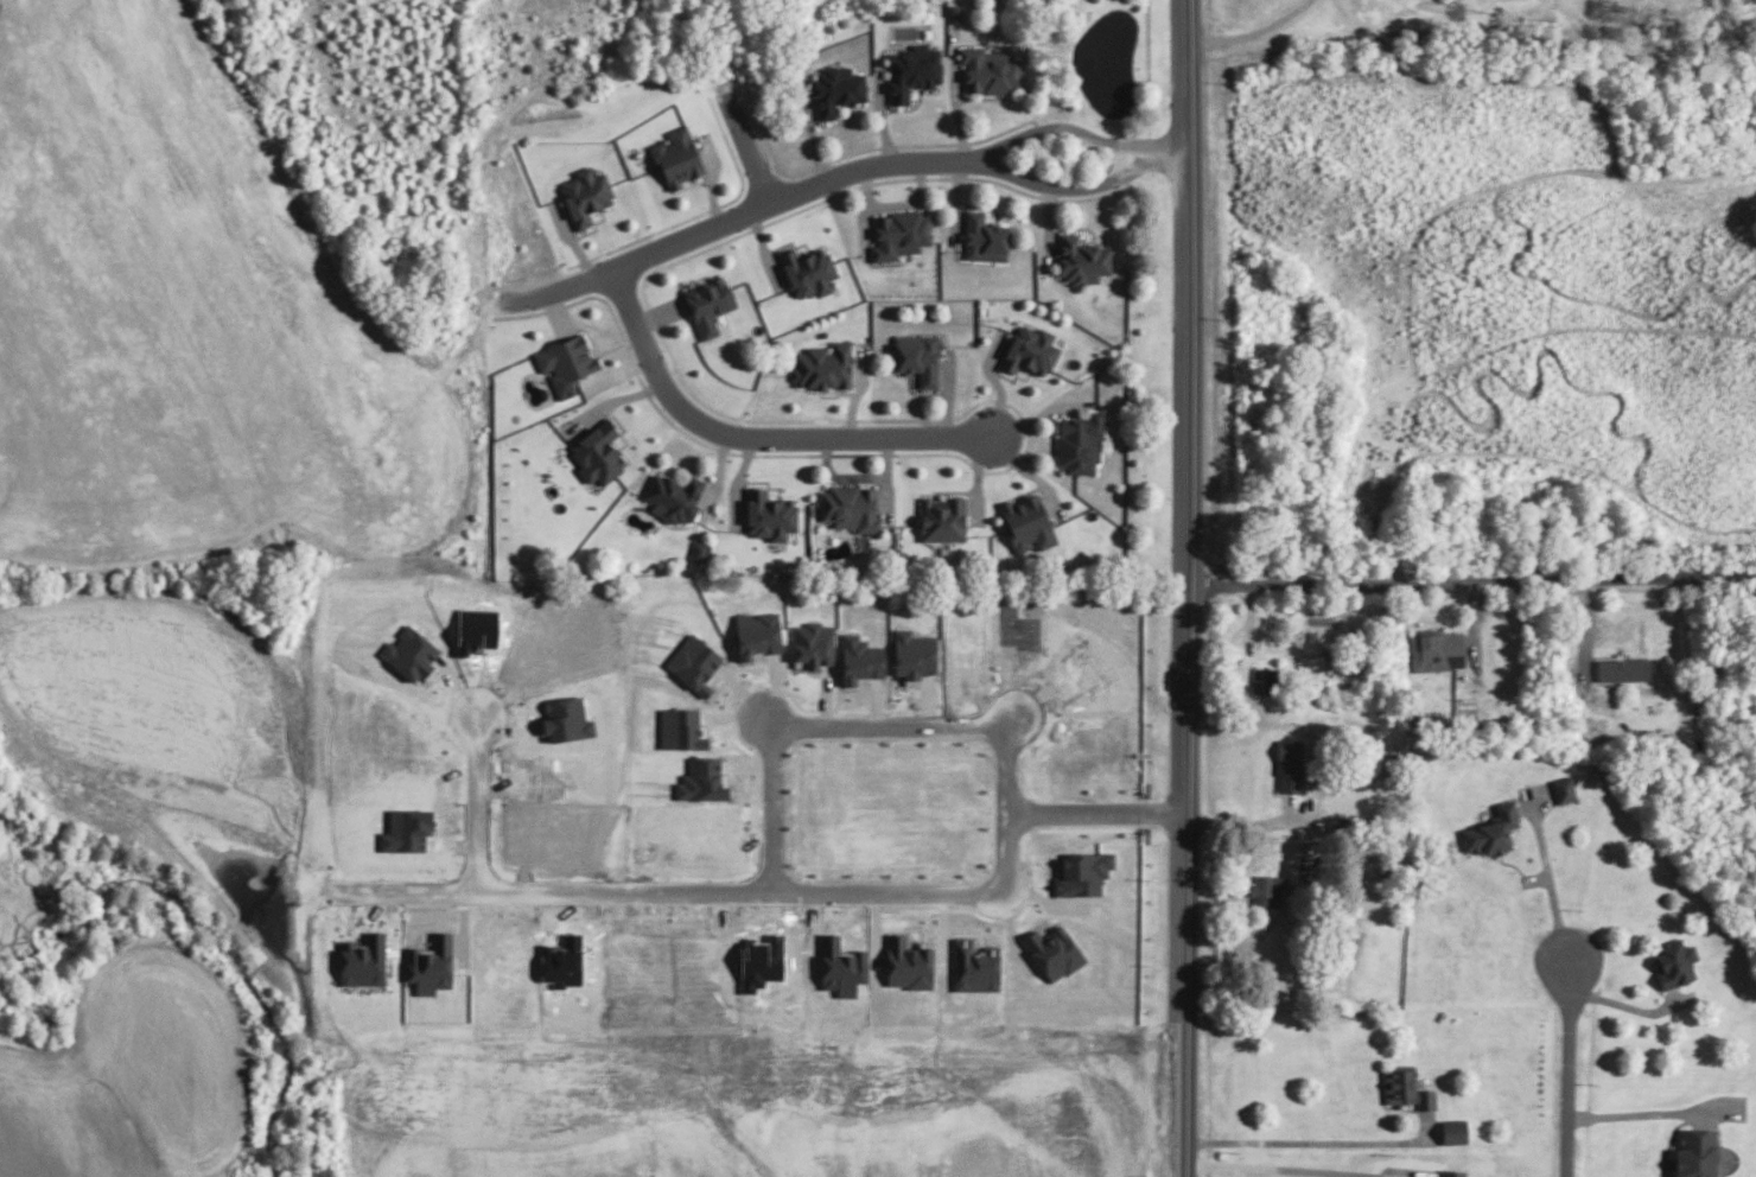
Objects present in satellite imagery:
building: (912, 71)
building: (836, 90)
road: (1081, 133)
road: (750, 139)
building: (677, 157)
road: (1086, 189)
building: (586, 195)
road: (732, 220)
building: (899, 234)
building: (984, 237)
building: (1081, 260)
building: (808, 272)
building: (708, 304)
building: (1030, 350)
building: (917, 357)
building: (566, 363)
building: (822, 365)
road: (755, 439)
building: (1079, 444)
building: (598, 453)
building: (674, 497)
building: (851, 507)
building: (769, 515)
building: (941, 518)
building: (1027, 522)
building: (698, 551)
road: (1475, 583)
road: (1192, 588)
building: (757, 634)
building: (813, 644)
building: (1436, 650)
building: (411, 654)
building: (914, 655)
building: (861, 660)
building: (694, 663)
building: (1623, 669)
building: (566, 719)
road: (851, 724)
building: (680, 729)
building: (1291, 765)
building: (702, 780)
building: (1563, 789)
road: (1246, 823)
building: (406, 829)
building: (1491, 831)
building: (1082, 873)
road: (1548, 883)
building: (1270, 890)
road: (785, 892)
building: (1052, 952)
building: (1674, 961)
building: (908, 962)
building: (431, 965)
building: (840, 966)
building: (974, 966)
road: (1624, 1005)
road: (1566, 1069)
building: (1405, 1087)
road: (1634, 1107)
building: (1453, 1131)
road: (1306, 1139)
building: (1695, 1152)
road: (1296, 1168)

